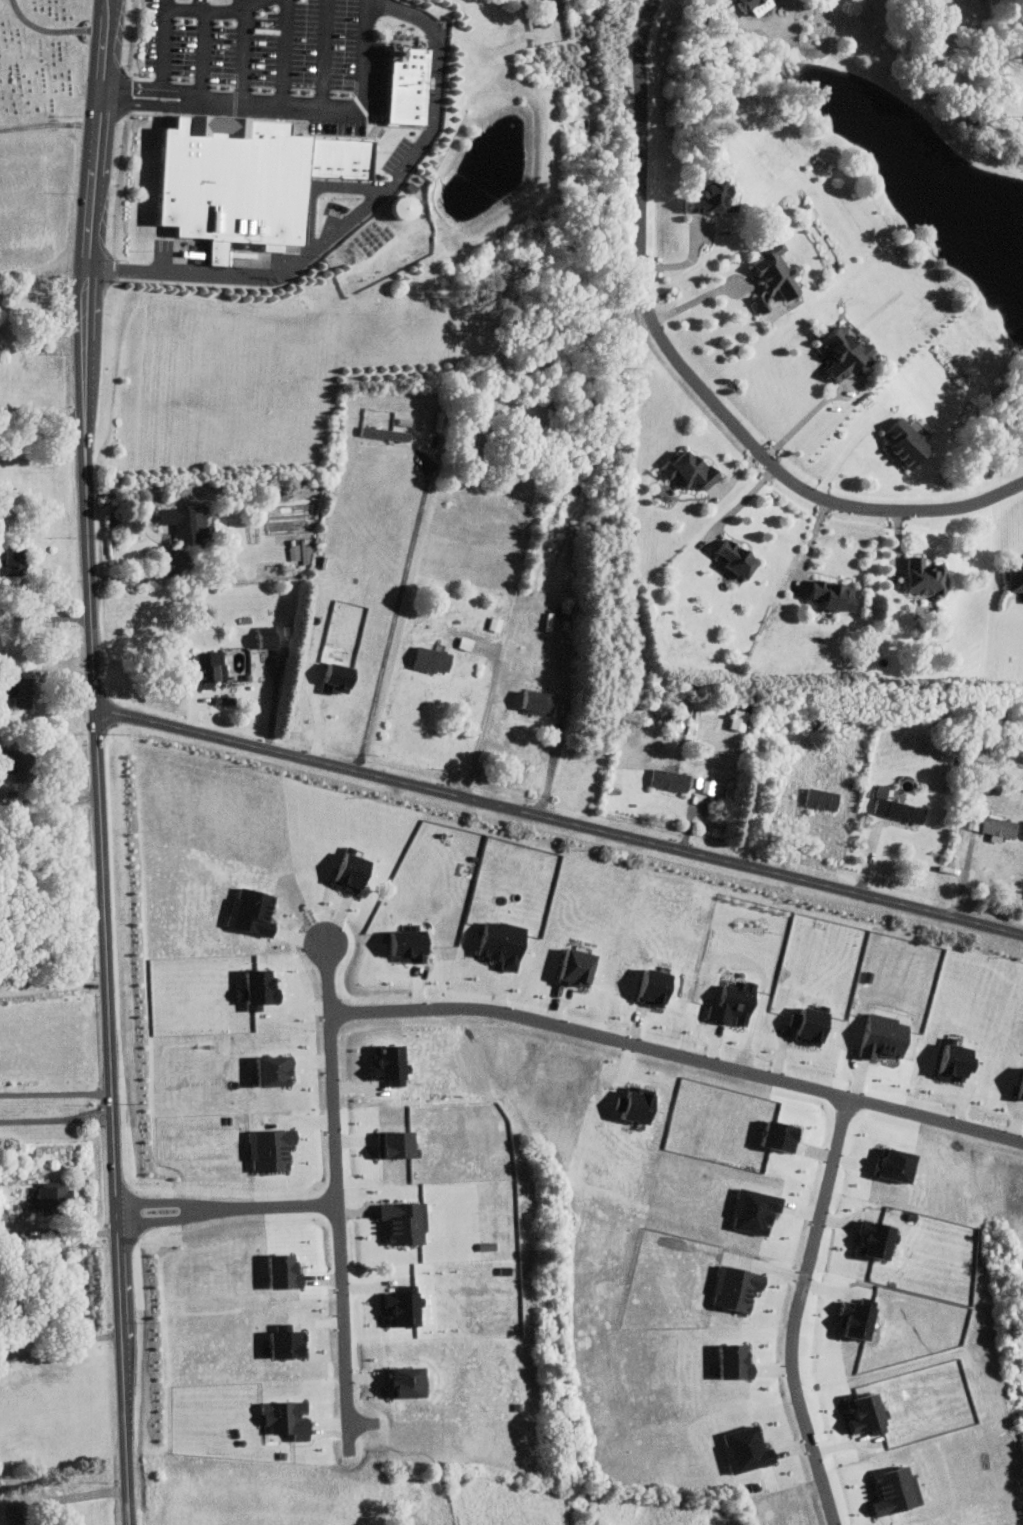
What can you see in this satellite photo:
building: (748, 6)
road: (166, 25)
road: (206, 30)
road: (283, 53)
road: (244, 54)
road: (323, 55)
building: (1022, 57)
building: (409, 84)
road: (154, 86)
road: (152, 105)
road: (336, 111)
building: (253, 179)
building: (706, 196)
road: (92, 208)
building: (405, 208)
road: (356, 212)
building: (768, 275)
road: (702, 296)
building: (833, 351)
road: (692, 373)
road: (42, 416)
road: (807, 418)
building: (900, 440)
road: (844, 452)
building: (683, 471)
road: (739, 505)
building: (189, 523)
road: (810, 545)
building: (729, 559)
building: (17, 562)
road: (141, 577)
building: (918, 577)
building: (1013, 578)
building: (825, 595)
road: (46, 617)
road: (391, 627)
road: (503, 634)
building: (261, 638)
building: (428, 659)
road: (171, 661)
building: (207, 664)
building: (332, 677)
building: (11, 687)
building: (532, 701)
road: (275, 705)
building: (735, 719)
building: (4, 759)
road: (553, 764)
building: (664, 779)
building: (817, 798)
road: (49, 800)
building: (891, 807)
road: (560, 823)
building: (988, 825)
building: (340, 869)
building: (242, 912)
building: (493, 943)
building: (400, 944)
building: (570, 967)
road: (107, 971)
building: (645, 986)
road: (54, 989)
building: (250, 989)
building: (726, 1004)
building: (802, 1024)
road: (644, 1050)
building: (947, 1061)
building: (267, 1069)
building: (1015, 1086)
road: (56, 1094)
building: (628, 1106)
road: (57, 1119)
building: (48, 1196)
road: (212, 1207)
road: (275, 1207)
building: (402, 1221)
road: (339, 1230)
road: (17, 1239)
road: (796, 1313)
building: (279, 1340)
road: (60, 1345)
building: (404, 1380)
building: (282, 1417)
road: (81, 1497)

